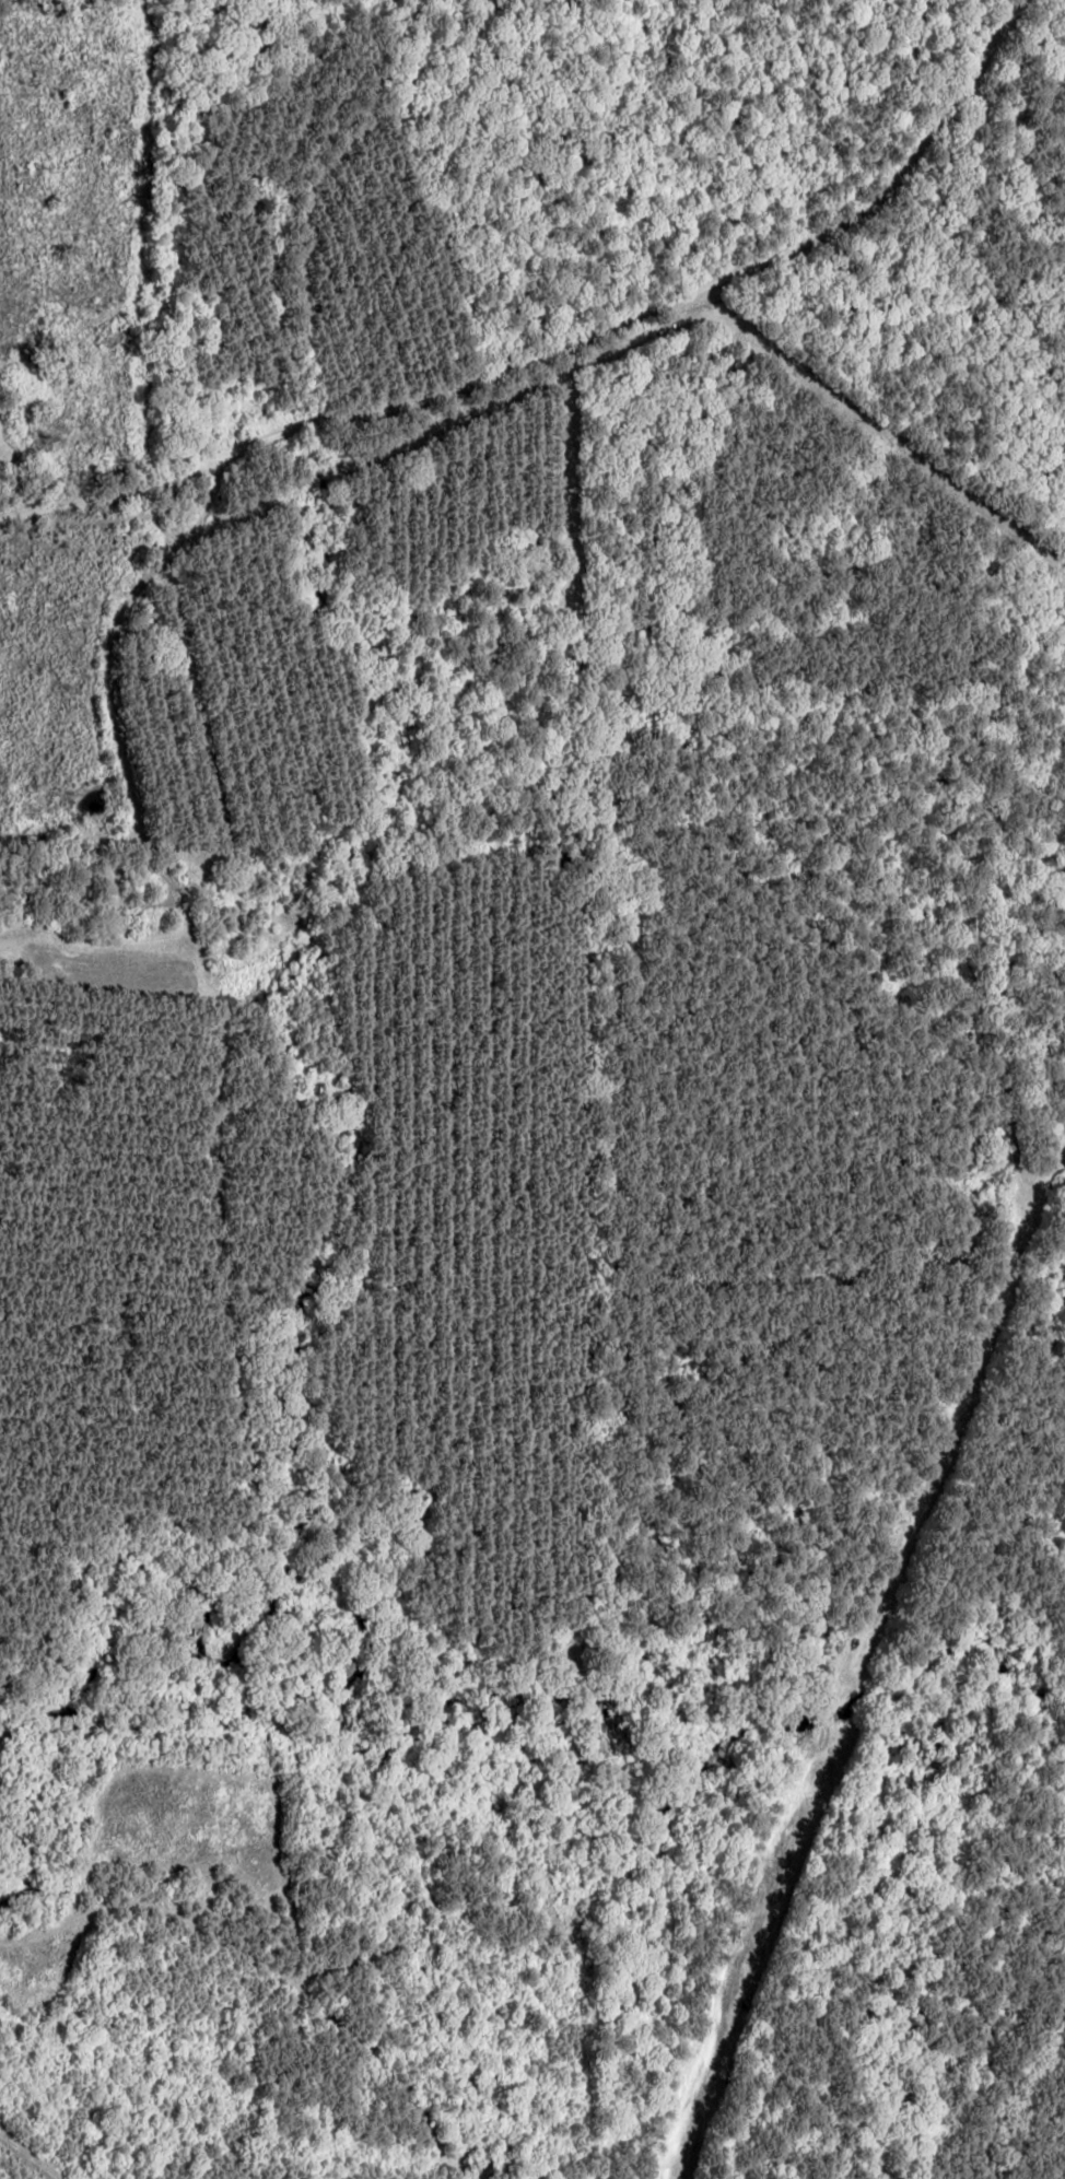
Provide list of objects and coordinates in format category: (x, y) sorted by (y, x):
road: (584, 363)

